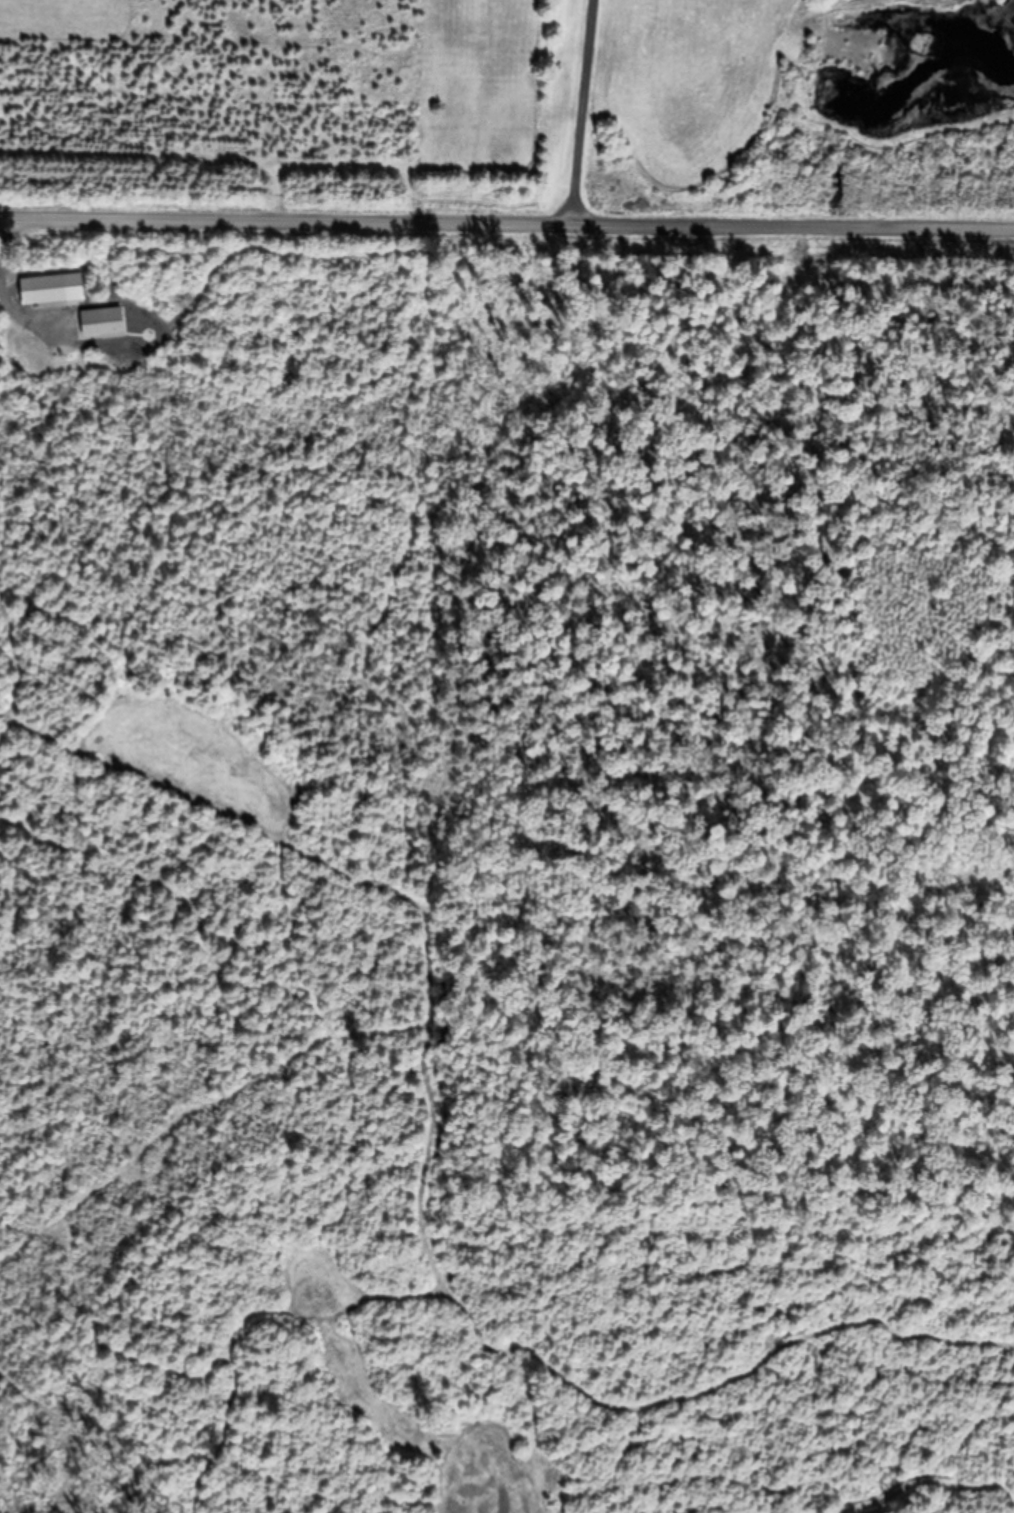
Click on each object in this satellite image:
road: (581, 115)
road: (506, 230)
building: (99, 320)

